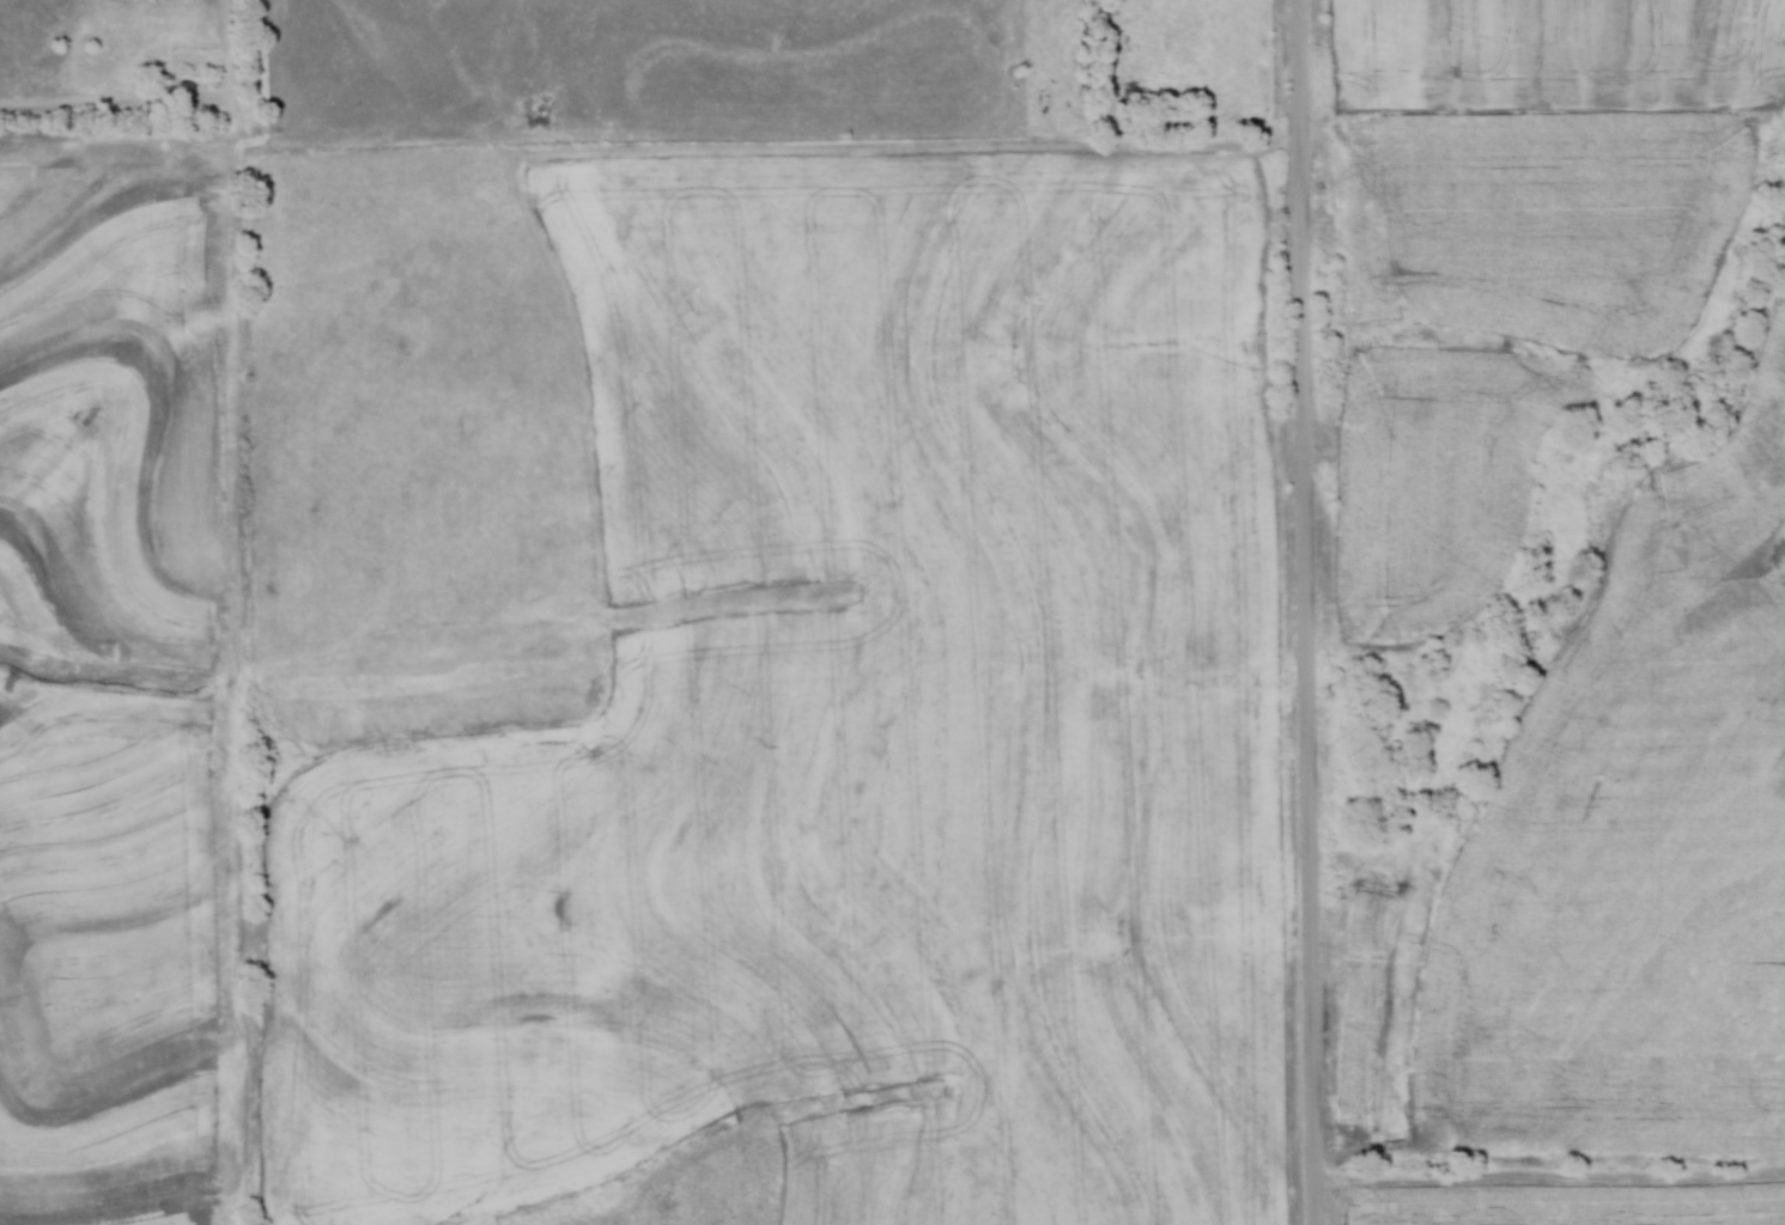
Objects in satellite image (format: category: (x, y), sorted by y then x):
road: (1307, 612)

